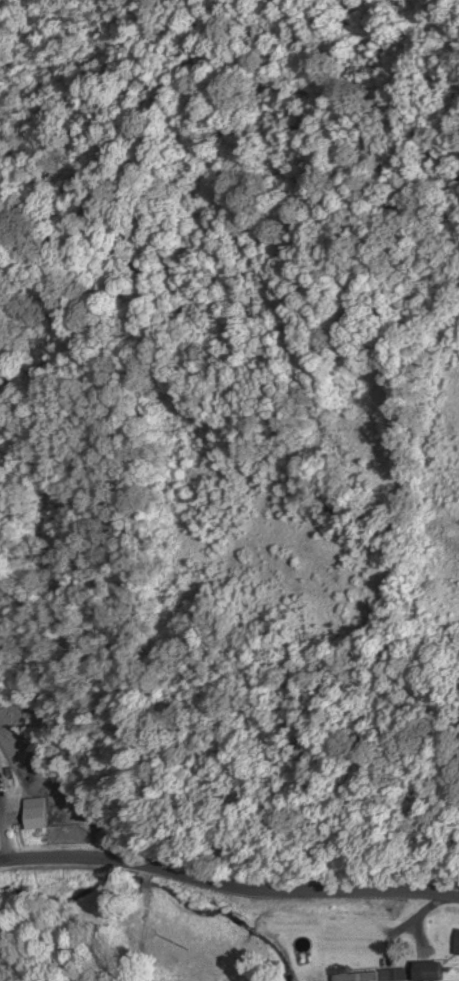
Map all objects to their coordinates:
building: (32, 819)
road: (228, 884)
building: (456, 943)
building: (426, 971)

